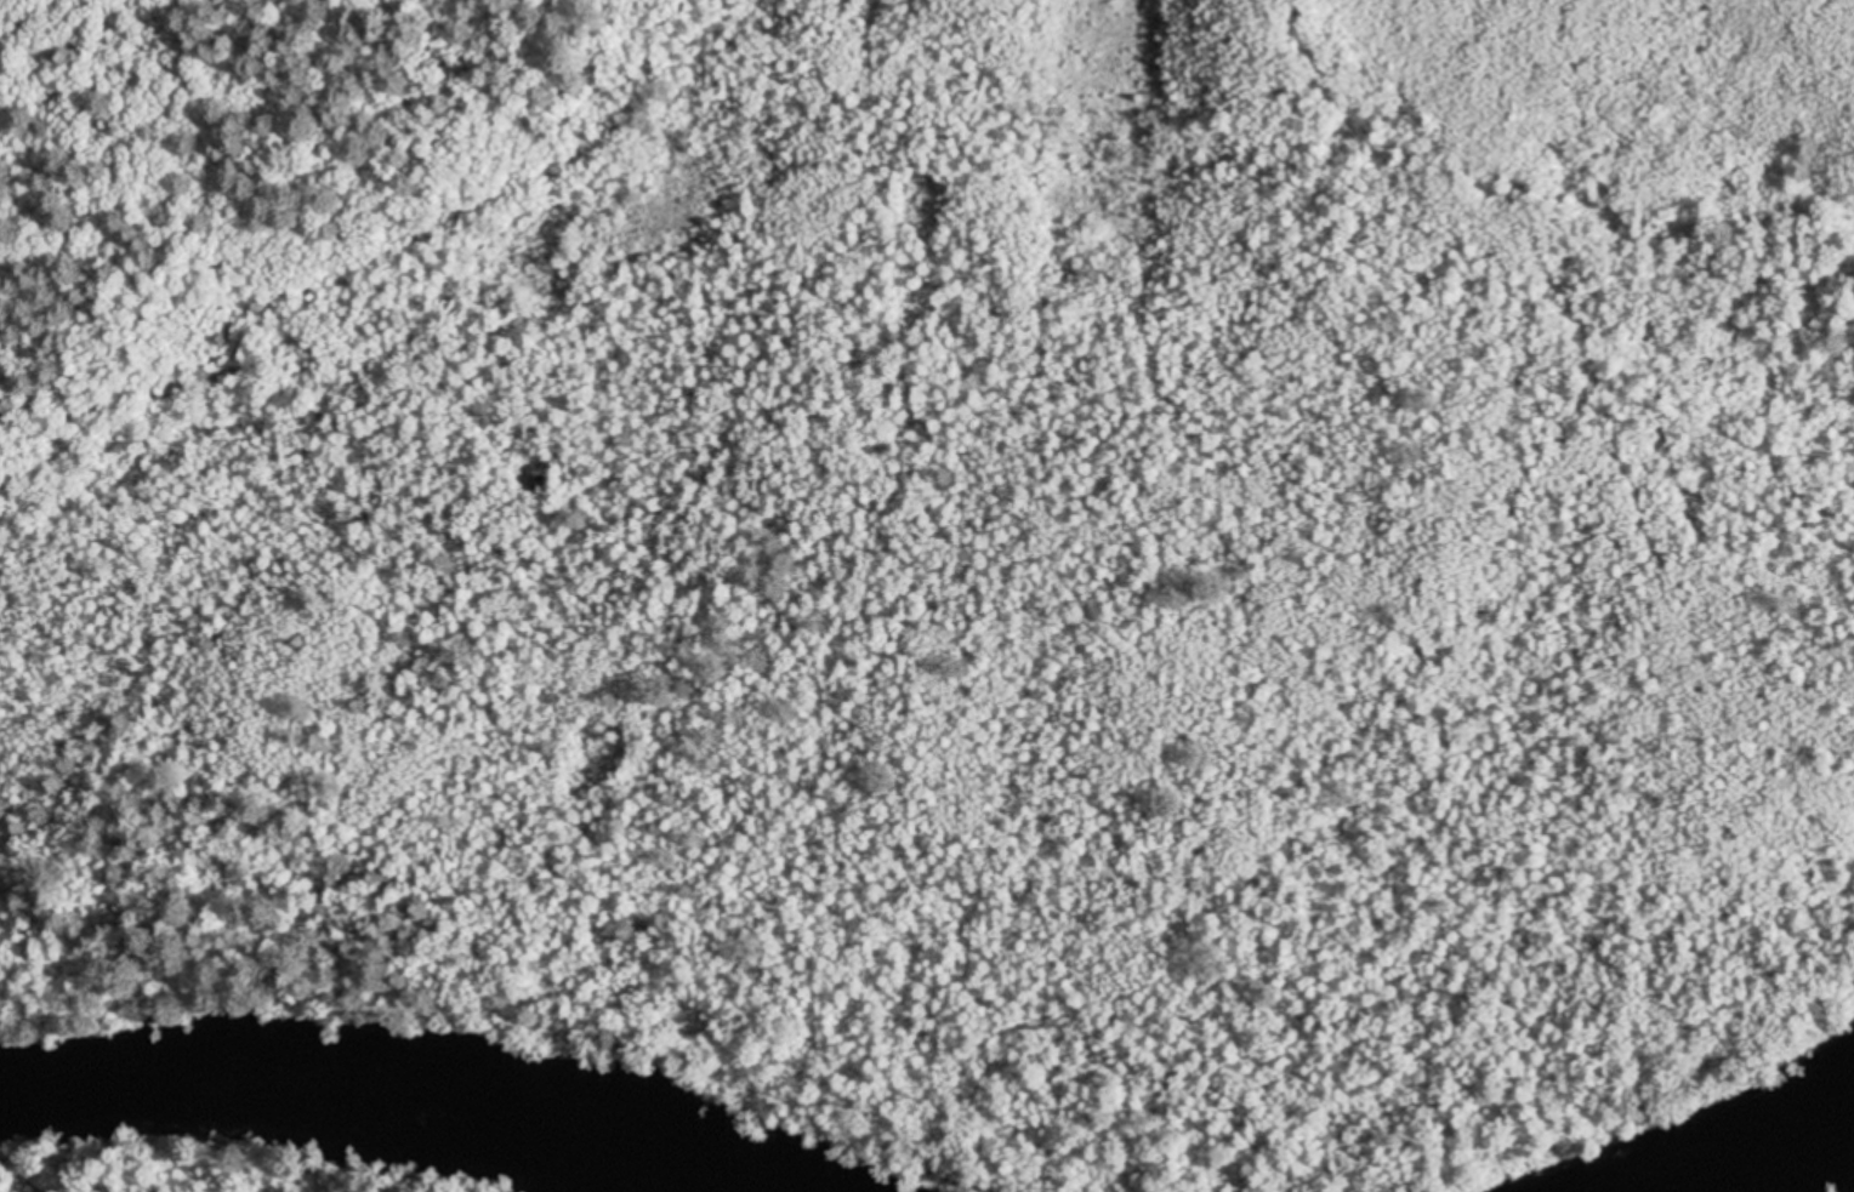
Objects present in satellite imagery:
river: (376, 1099)
river: (1776, 1141)

